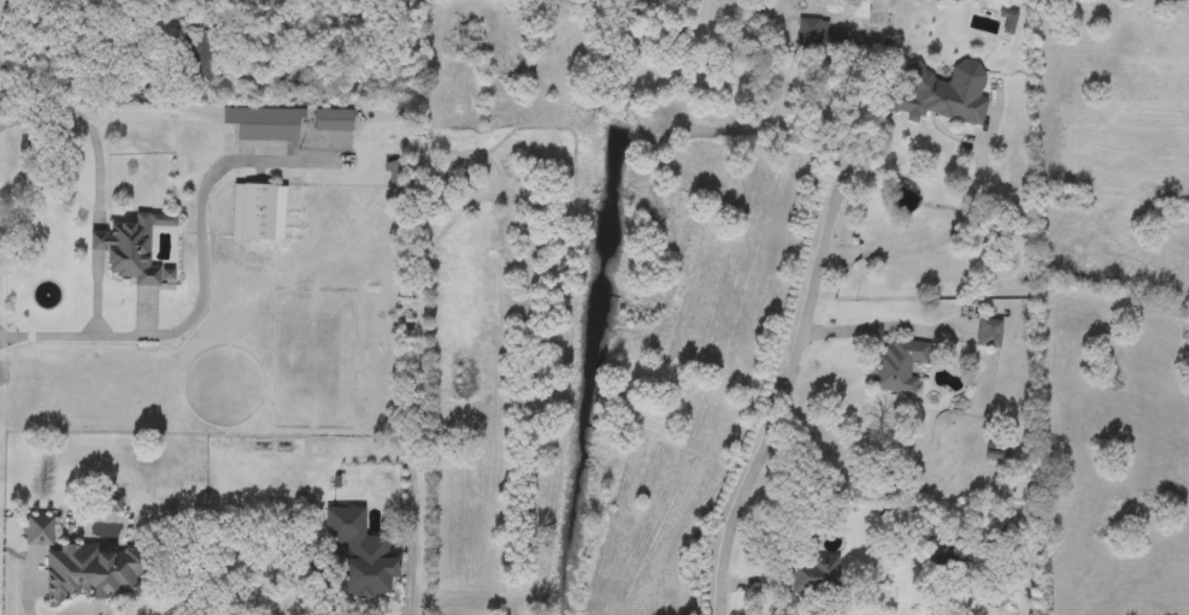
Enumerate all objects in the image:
building: (470, 34)
building: (818, 36)
building: (941, 94)
building: (334, 120)
building: (264, 124)
road: (90, 131)
road: (245, 162)
building: (258, 212)
road: (957, 223)
road: (95, 242)
building: (136, 249)
road: (181, 326)
road: (875, 327)
road: (86, 333)
building: (989, 333)
building: (900, 366)
road: (793, 375)
building: (40, 531)
building: (359, 557)
building: (93, 573)
building: (814, 578)

